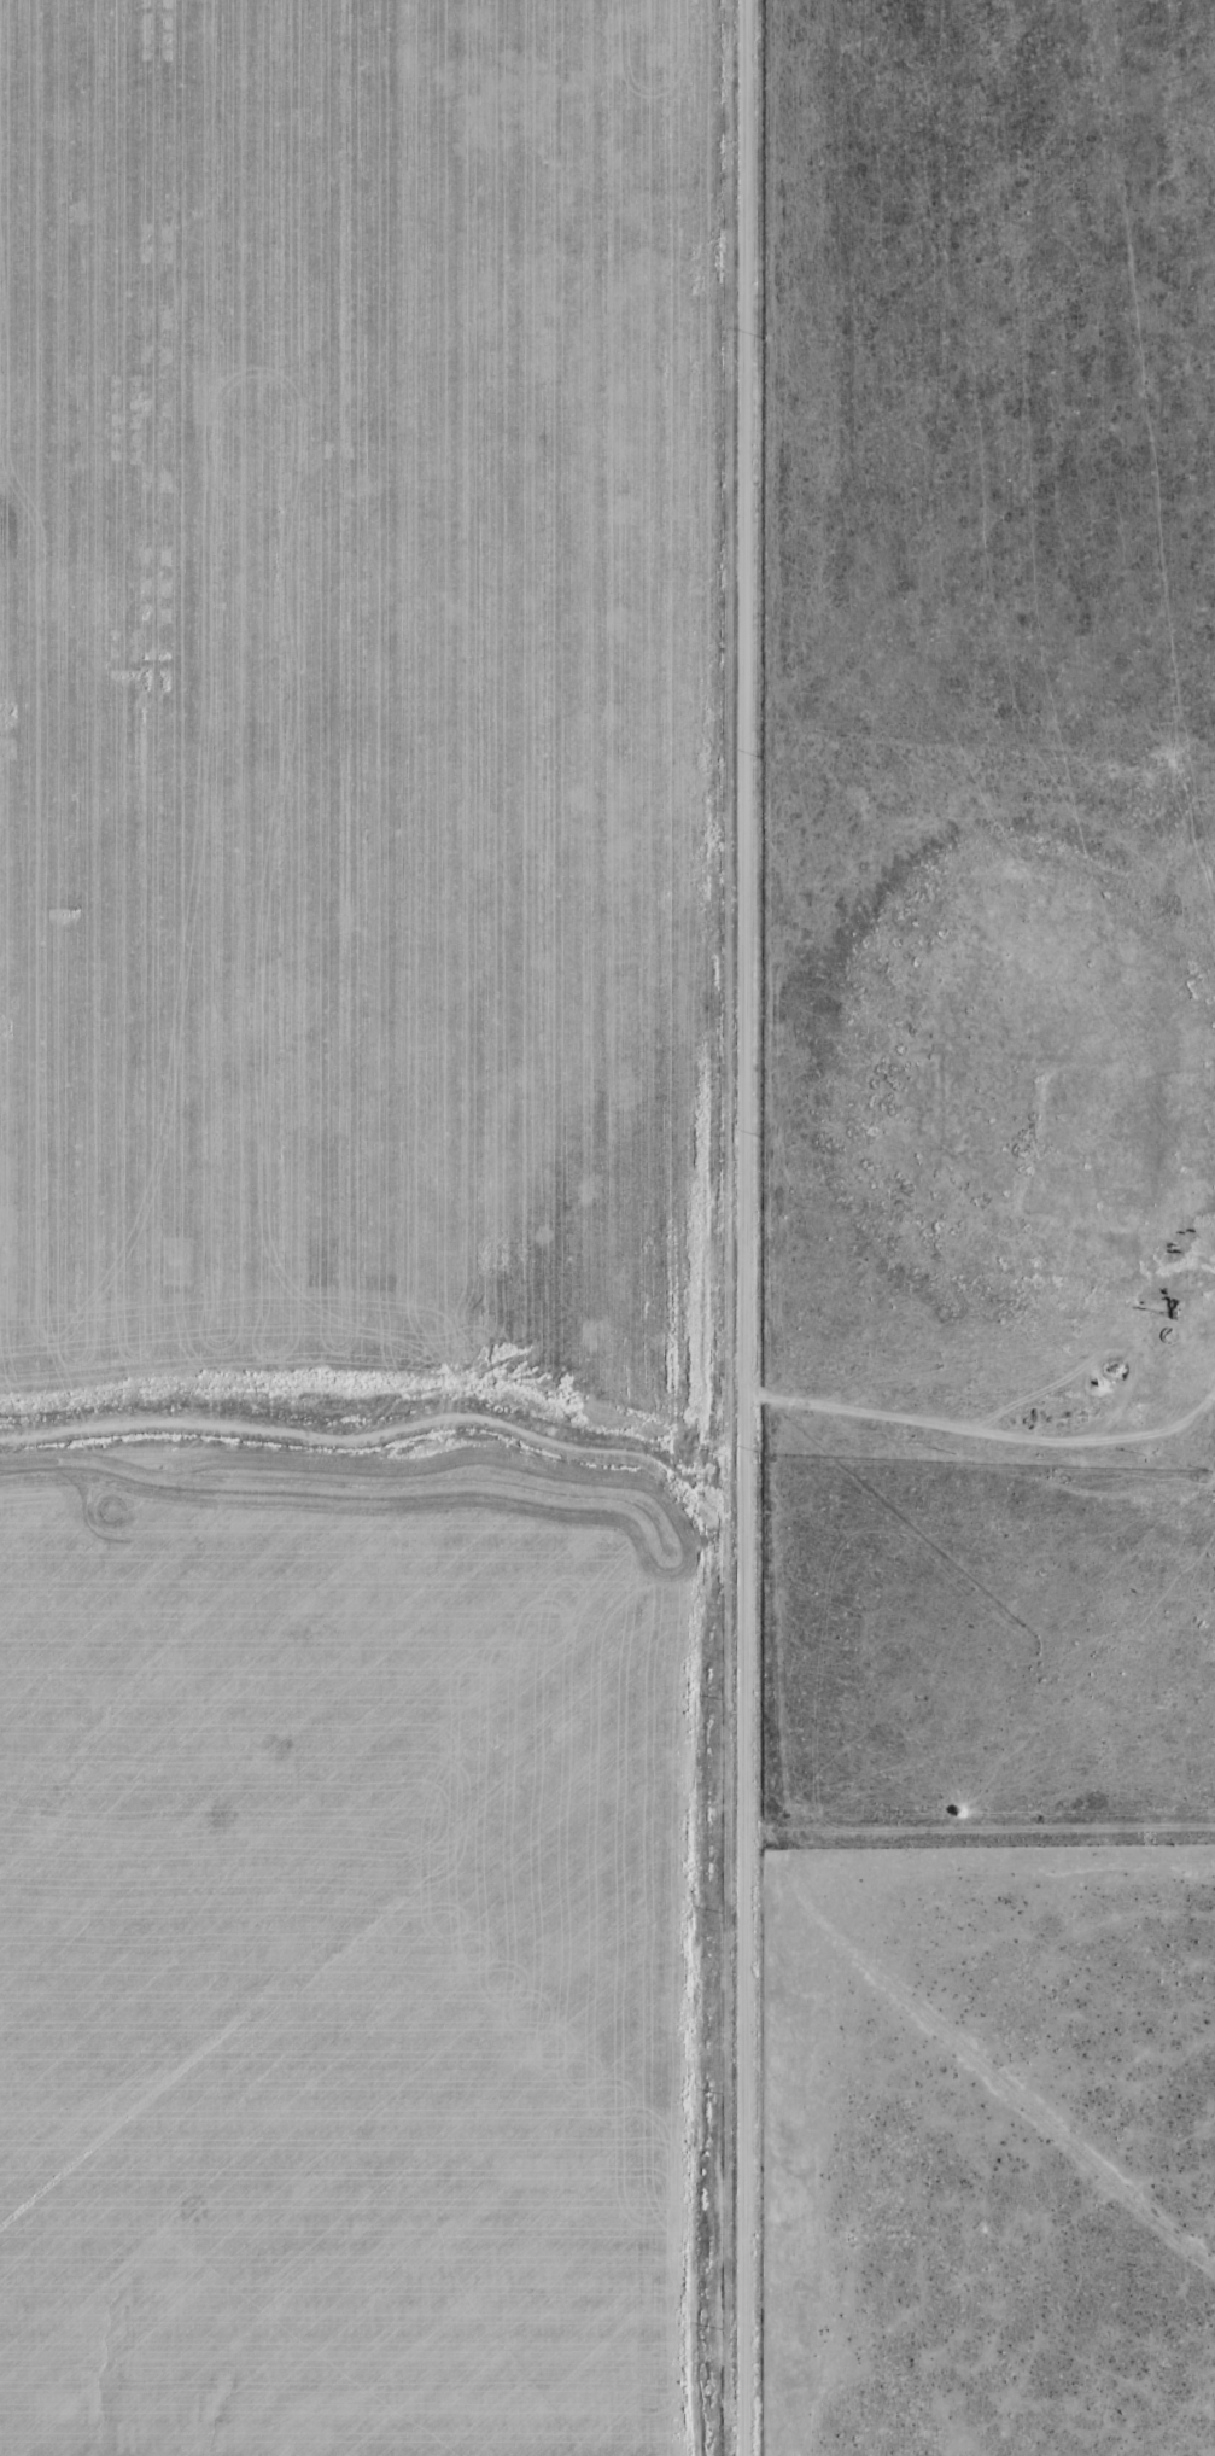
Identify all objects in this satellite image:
road: (744, 1227)

